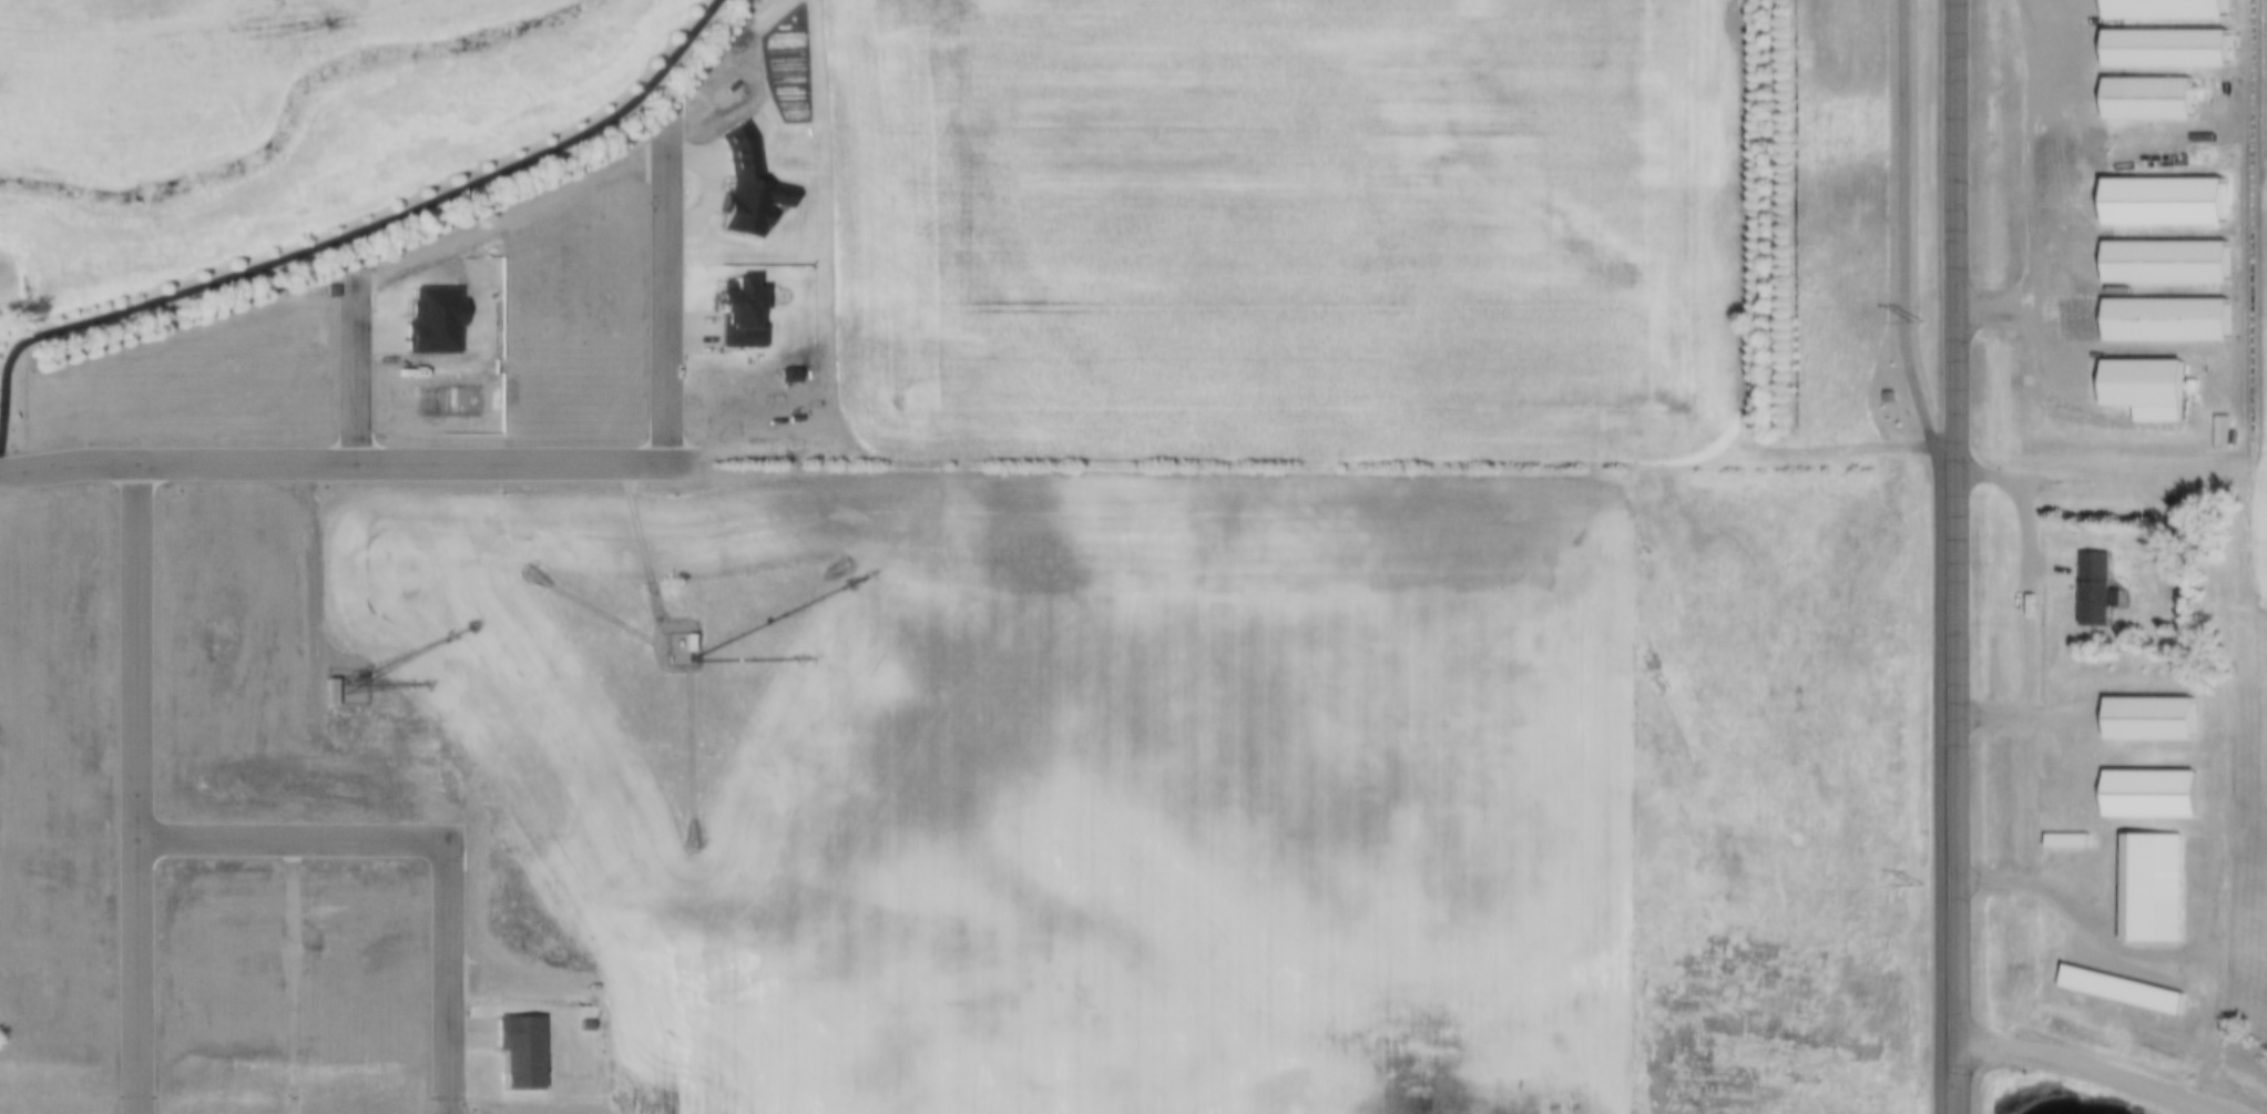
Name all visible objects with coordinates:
building: (2154, 3)
building: (2155, 38)
building: (2138, 89)
building: (2154, 190)
road: (347, 231)
building: (2156, 252)
road: (665, 292)
building: (2157, 307)
crop: (2254, 354)
road: (353, 369)
building: (2132, 370)
building: (2223, 430)
road: (1940, 446)
road: (346, 464)
road: (2020, 512)
road: (1931, 554)
road: (1950, 556)
road: (2046, 566)
building: (2092, 589)
building: (685, 643)
building: (690, 643)
building: (330, 692)
building: (2140, 706)
building: (2141, 780)
road: (134, 789)
road: (289, 841)
building: (2143, 877)
road: (445, 978)
building: (2112, 981)
road: (2087, 1067)

